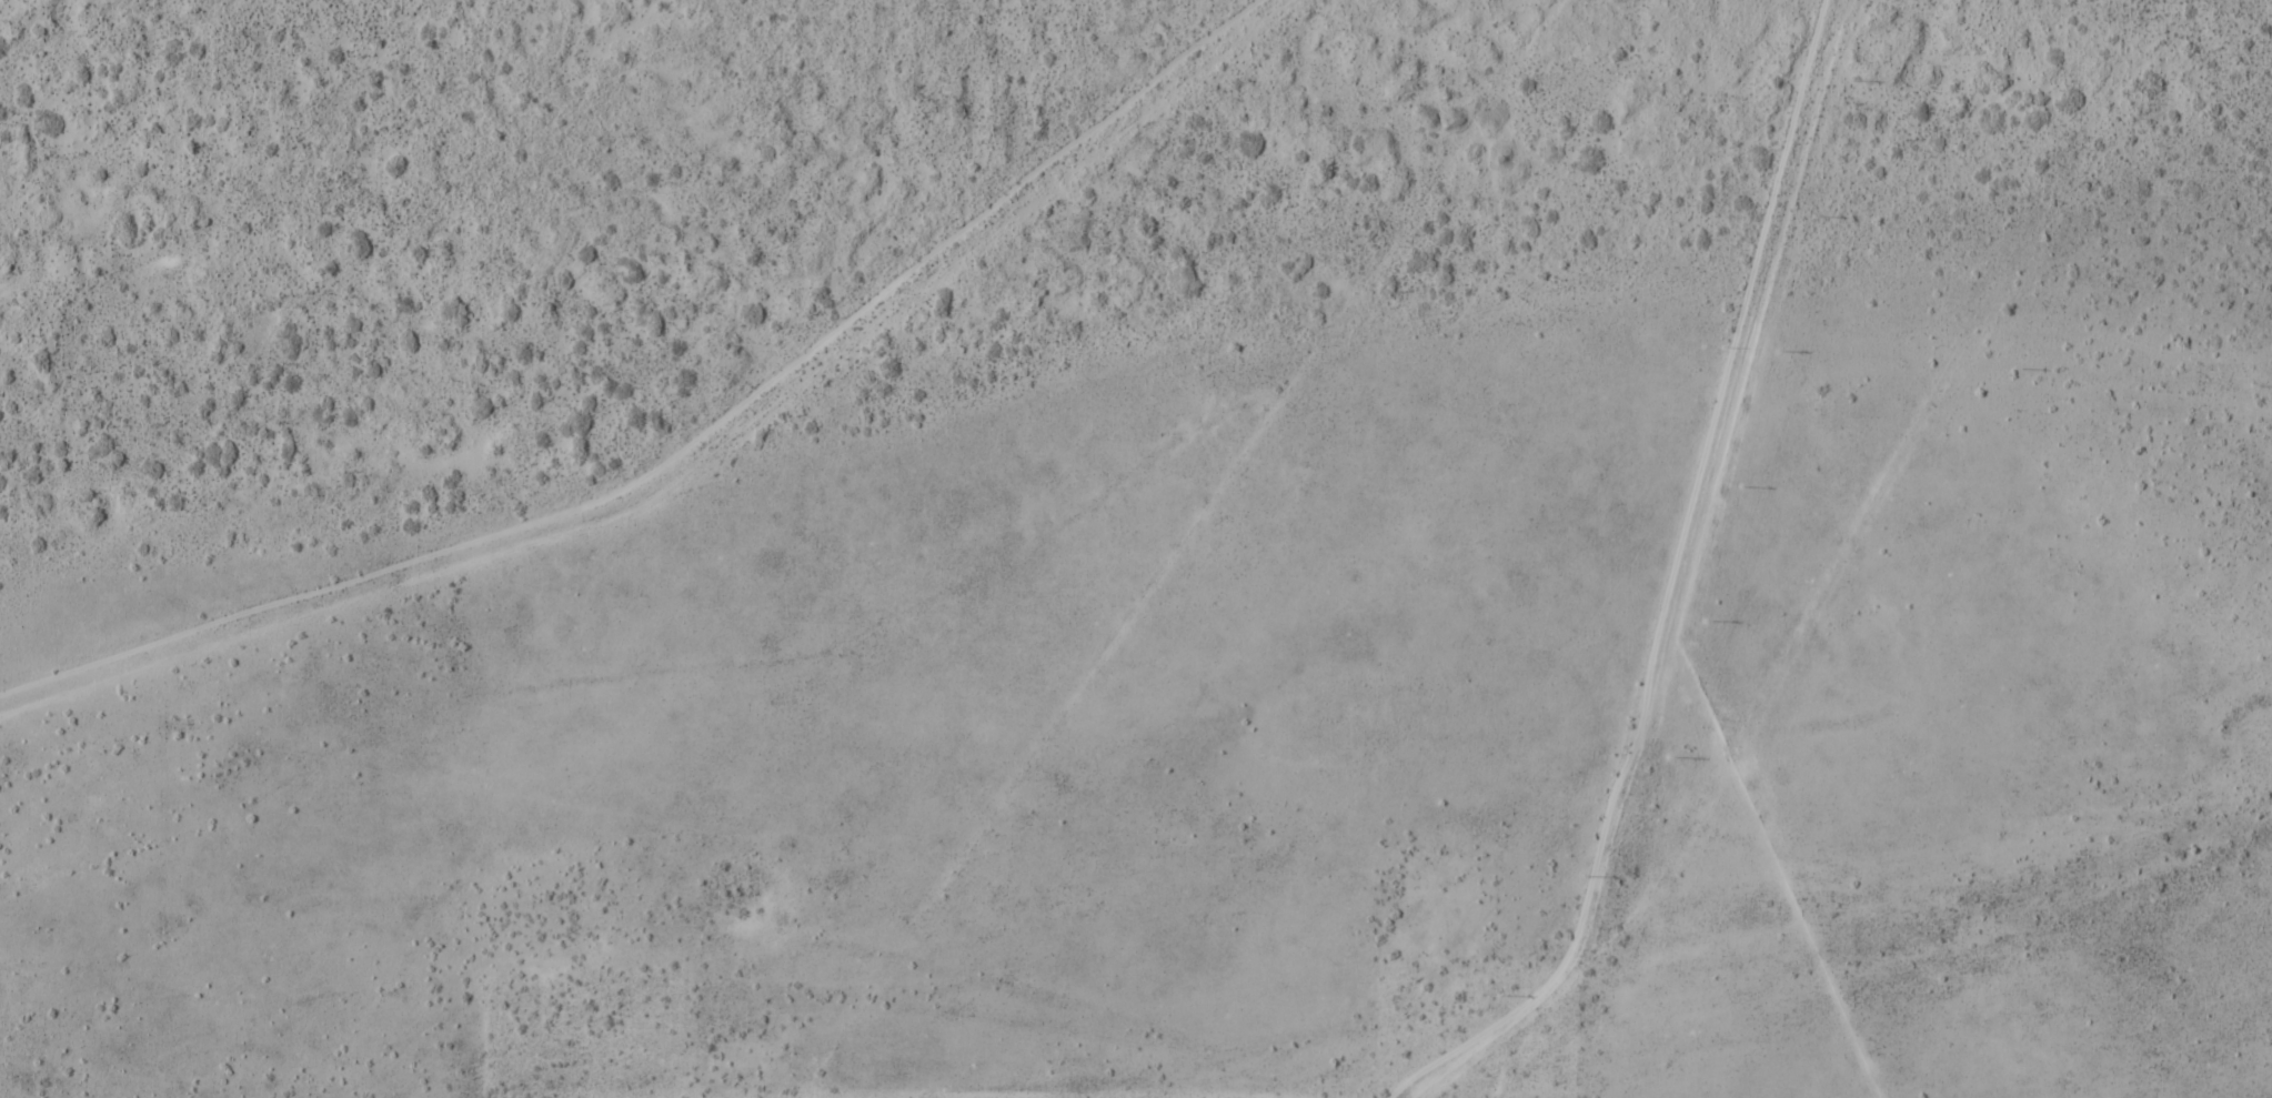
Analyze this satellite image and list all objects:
road: (1670, 592)
road: (797, 1097)

